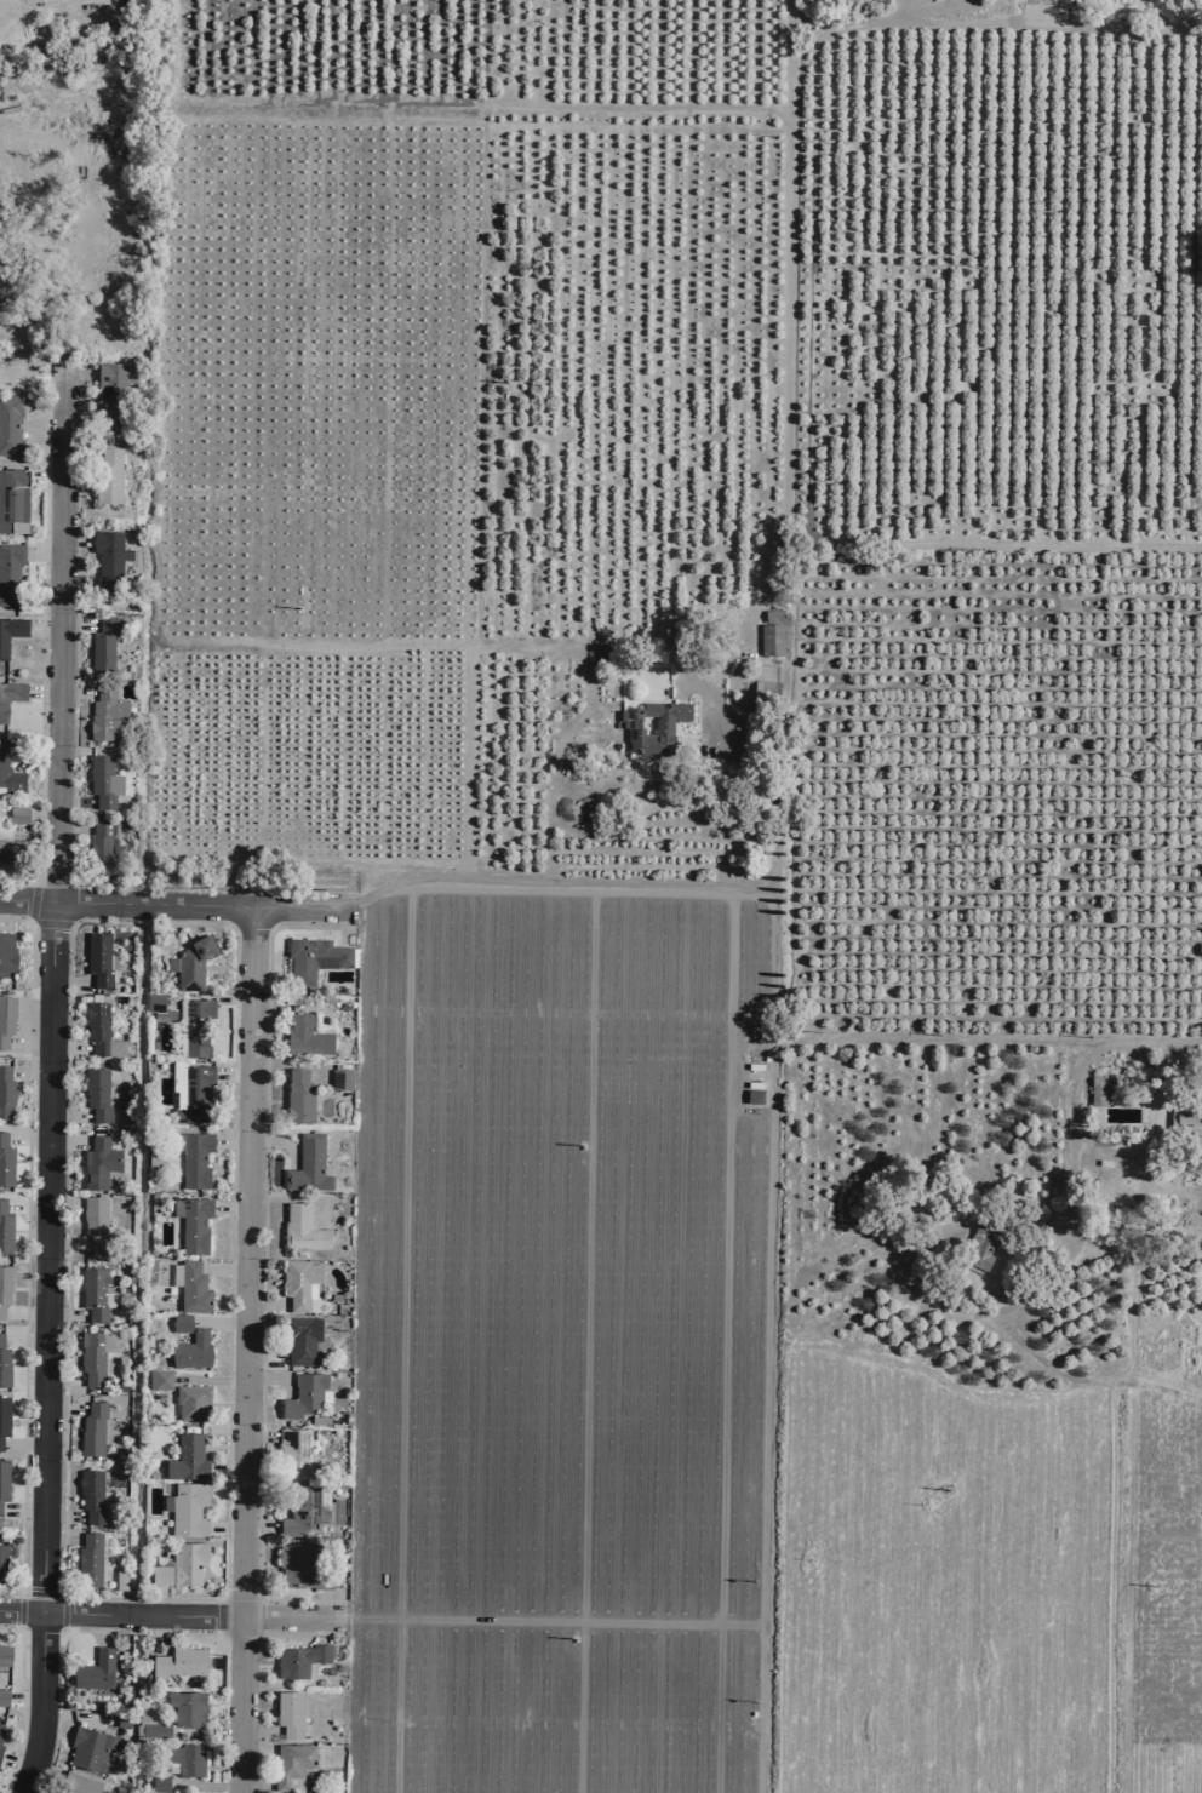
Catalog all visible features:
road: (55, 2)
road: (956, 2)
road: (946, 7)
road: (784, 127)
road: (48, 276)
road: (78, 373)
building: (111, 391)
road: (41, 402)
building: (8, 425)
building: (107, 476)
road: (44, 477)
building: (12, 500)
road: (74, 542)
road: (1017, 544)
road: (41, 552)
building: (108, 557)
building: (8, 572)
road: (76, 624)
road: (42, 628)
building: (10, 631)
road: (41, 637)
building: (771, 638)
building: (101, 646)
road: (41, 691)
building: (763, 694)
building: (8, 698)
building: (105, 715)
building: (662, 728)
road: (71, 757)
road: (464, 761)
building: (8, 774)
building: (102, 780)
road: (74, 800)
building: (17, 814)
road: (71, 826)
building: (105, 843)
building: (12, 850)
road: (399, 880)
street lamp: (27, 883)
street lamp: (210, 888)
road: (170, 904)
road: (191, 921)
road: (345, 924)
road: (229, 928)
building: (5, 953)
building: (313, 957)
building: (97, 958)
building: (191, 962)
road: (68, 980)
road: (231, 997)
building: (153, 1001)
road: (263, 1007)
building: (5, 1019)
building: (196, 1025)
building: (99, 1029)
road: (795, 1032)
building: (304, 1035)
road: (28, 1044)
road: (68, 1047)
road: (288, 1064)
road: (231, 1072)
road: (28, 1073)
road: (46, 1077)
building: (339, 1078)
building: (1099, 1090)
building: (5, 1092)
building: (96, 1093)
building: (297, 1095)
building: (189, 1096)
road: (1074, 1099)
road: (67, 1113)
building: (1186, 1117)
street lamp: (262, 1132)
road: (27, 1138)
road: (67, 1141)
road: (229, 1141)
road: (276, 1141)
building: (191, 1156)
building: (151, 1157)
building: (5, 1162)
building: (97, 1162)
building: (307, 1163)
road: (456, 1174)
road: (284, 1198)
road: (25, 1203)
road: (228, 1205)
building: (93, 1221)
building: (193, 1224)
building: (302, 1228)
building: (4, 1230)
road: (64, 1242)
building: (979, 1243)
road: (24, 1253)
street lamp: (261, 1259)
road: (262, 1261)
road: (222, 1266)
building: (297, 1282)
building: (4, 1285)
building: (191, 1287)
building: (95, 1293)
road: (264, 1302)
road: (23, 1312)
road: (63, 1314)
building: (179, 1322)
road: (218, 1322)
building: (302, 1339)
road: (22, 1340)
building: (190, 1350)
road: (244, 1350)
building: (93, 1354)
road: (263, 1357)
building: (4, 1367)
building: (158, 1379)
road: (270, 1379)
road: (61, 1380)
road: (207, 1380)
building: (302, 1393)
building: (190, 1400)
road: (62, 1408)
building: (4, 1416)
street lamp: (258, 1425)
building: (92, 1428)
road: (258, 1434)
road: (21, 1443)
building: (291, 1449)
building: (187, 1457)
road: (224, 1468)
building: (4, 1479)
building: (91, 1495)
road: (19, 1507)
building: (185, 1507)
building: (299, 1510)
road: (61, 1516)
road: (258, 1526)
road: (58, 1535)
building: (87, 1559)
building: (1, 1563)
building: (179, 1564)
building: (303, 1564)
street lamp: (256, 1586)
road: (159, 1598)
road: (322, 1602)
road: (170, 1611)
road: (63, 1612)
street lamp: (10, 1626)
road: (103, 1627)
road: (320, 1628)
road: (65, 1631)
road: (160, 1632)
road: (297, 1633)
building: (4, 1654)
building: (299, 1659)
building: (177, 1661)
building: (93, 1669)
building: (2, 1696)
road: (18, 1705)
building: (185, 1706)
building: (288, 1712)
building: (121, 1718)
building: (0, 1729)
building: (154, 1729)
road: (259, 1731)
road: (204, 1732)
building: (0, 1746)
building: (88, 1747)
building: (185, 1757)
building: (294, 1763)
building: (158, 1781)
building: (79, 1782)
road: (204, 1785)

